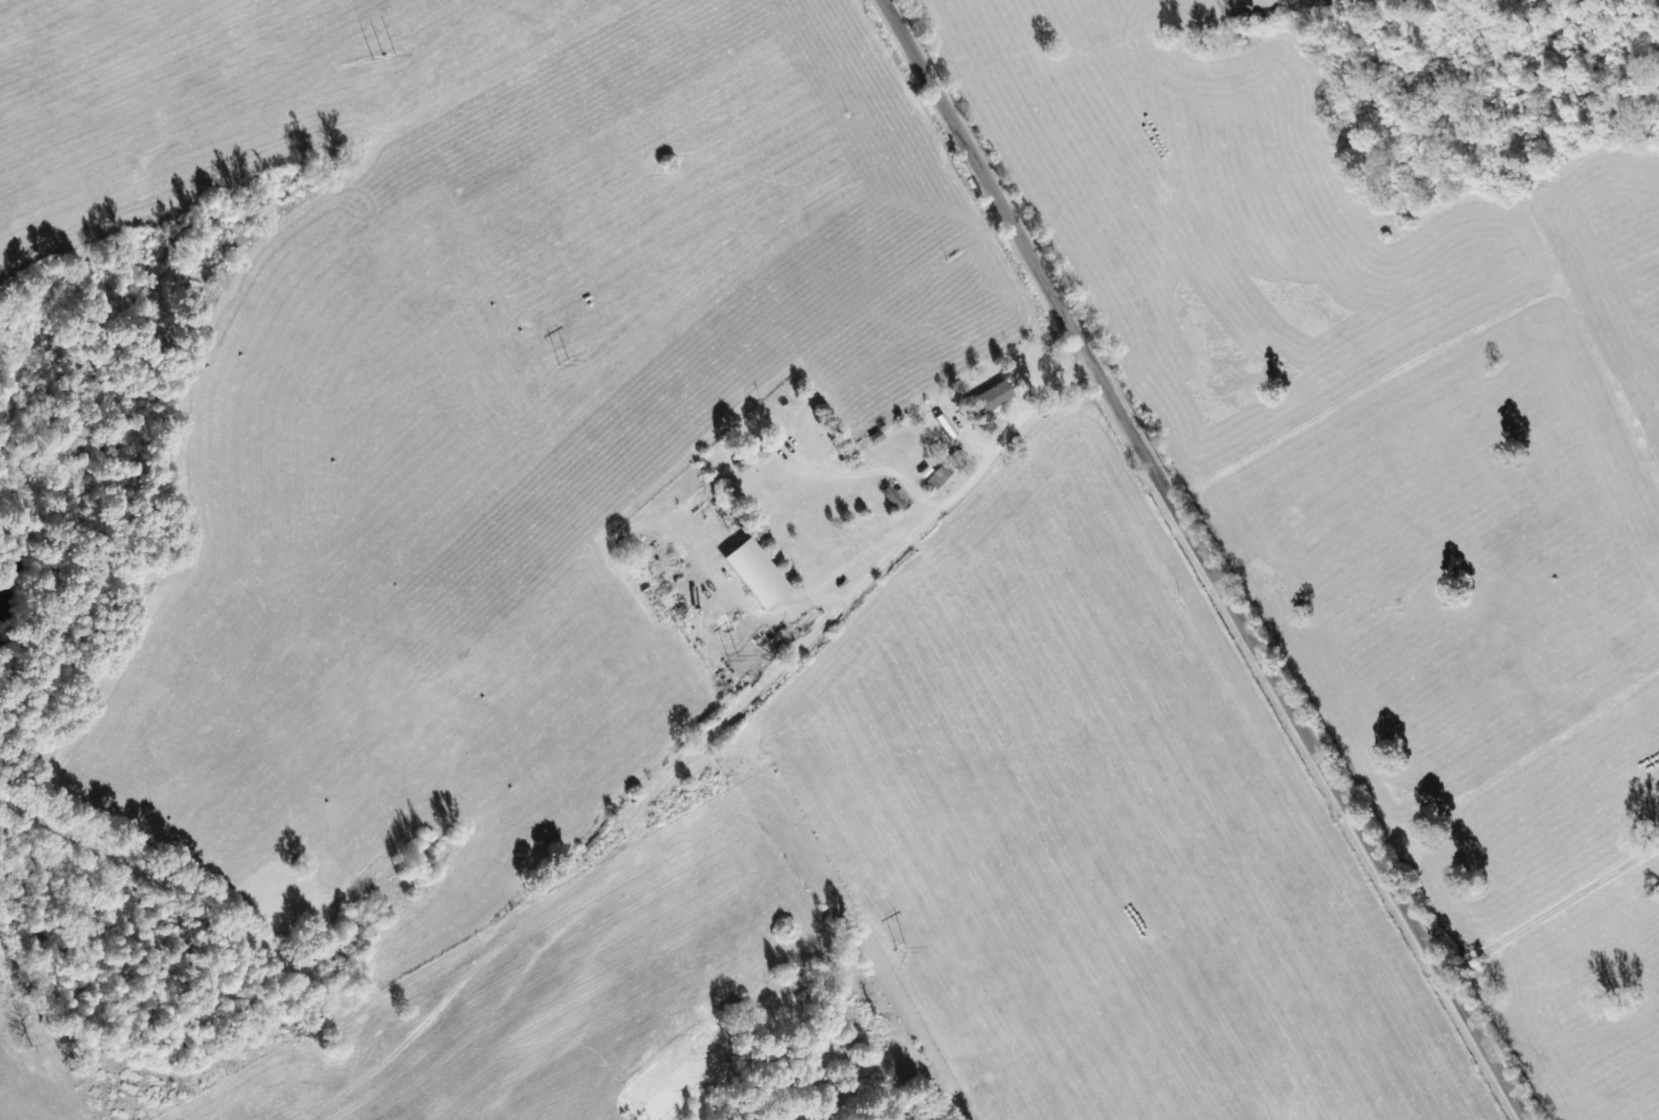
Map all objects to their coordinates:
power tower: (383, 59)
power tower: (562, 362)
building: (989, 399)
building: (945, 427)
building: (937, 480)
road: (1206, 559)
building: (755, 574)
power tower: (732, 657)
power tower: (902, 947)

